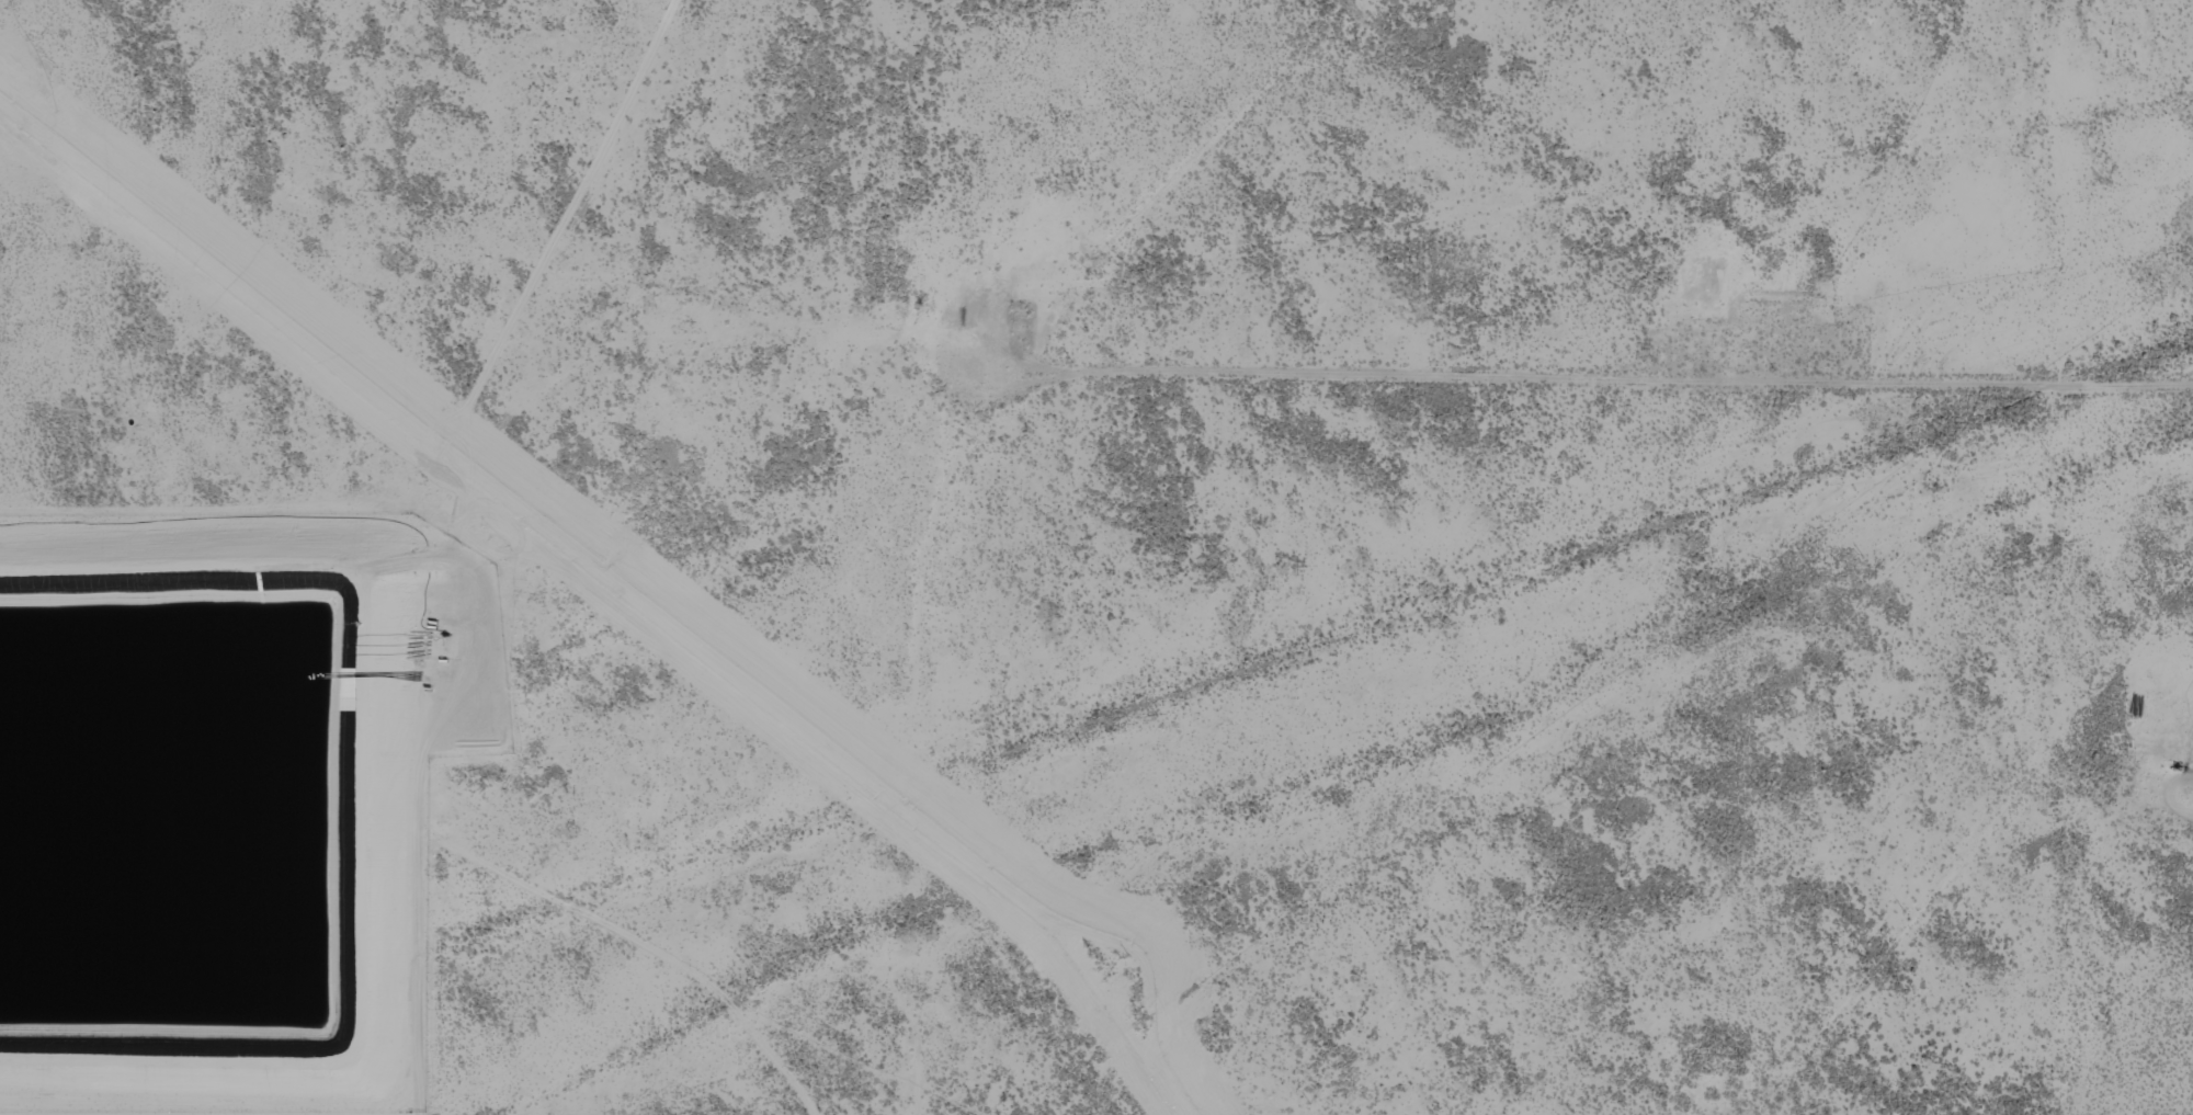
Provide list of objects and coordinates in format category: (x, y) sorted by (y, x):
road: (1223, 123)
road: (1606, 379)
road: (2173, 798)

